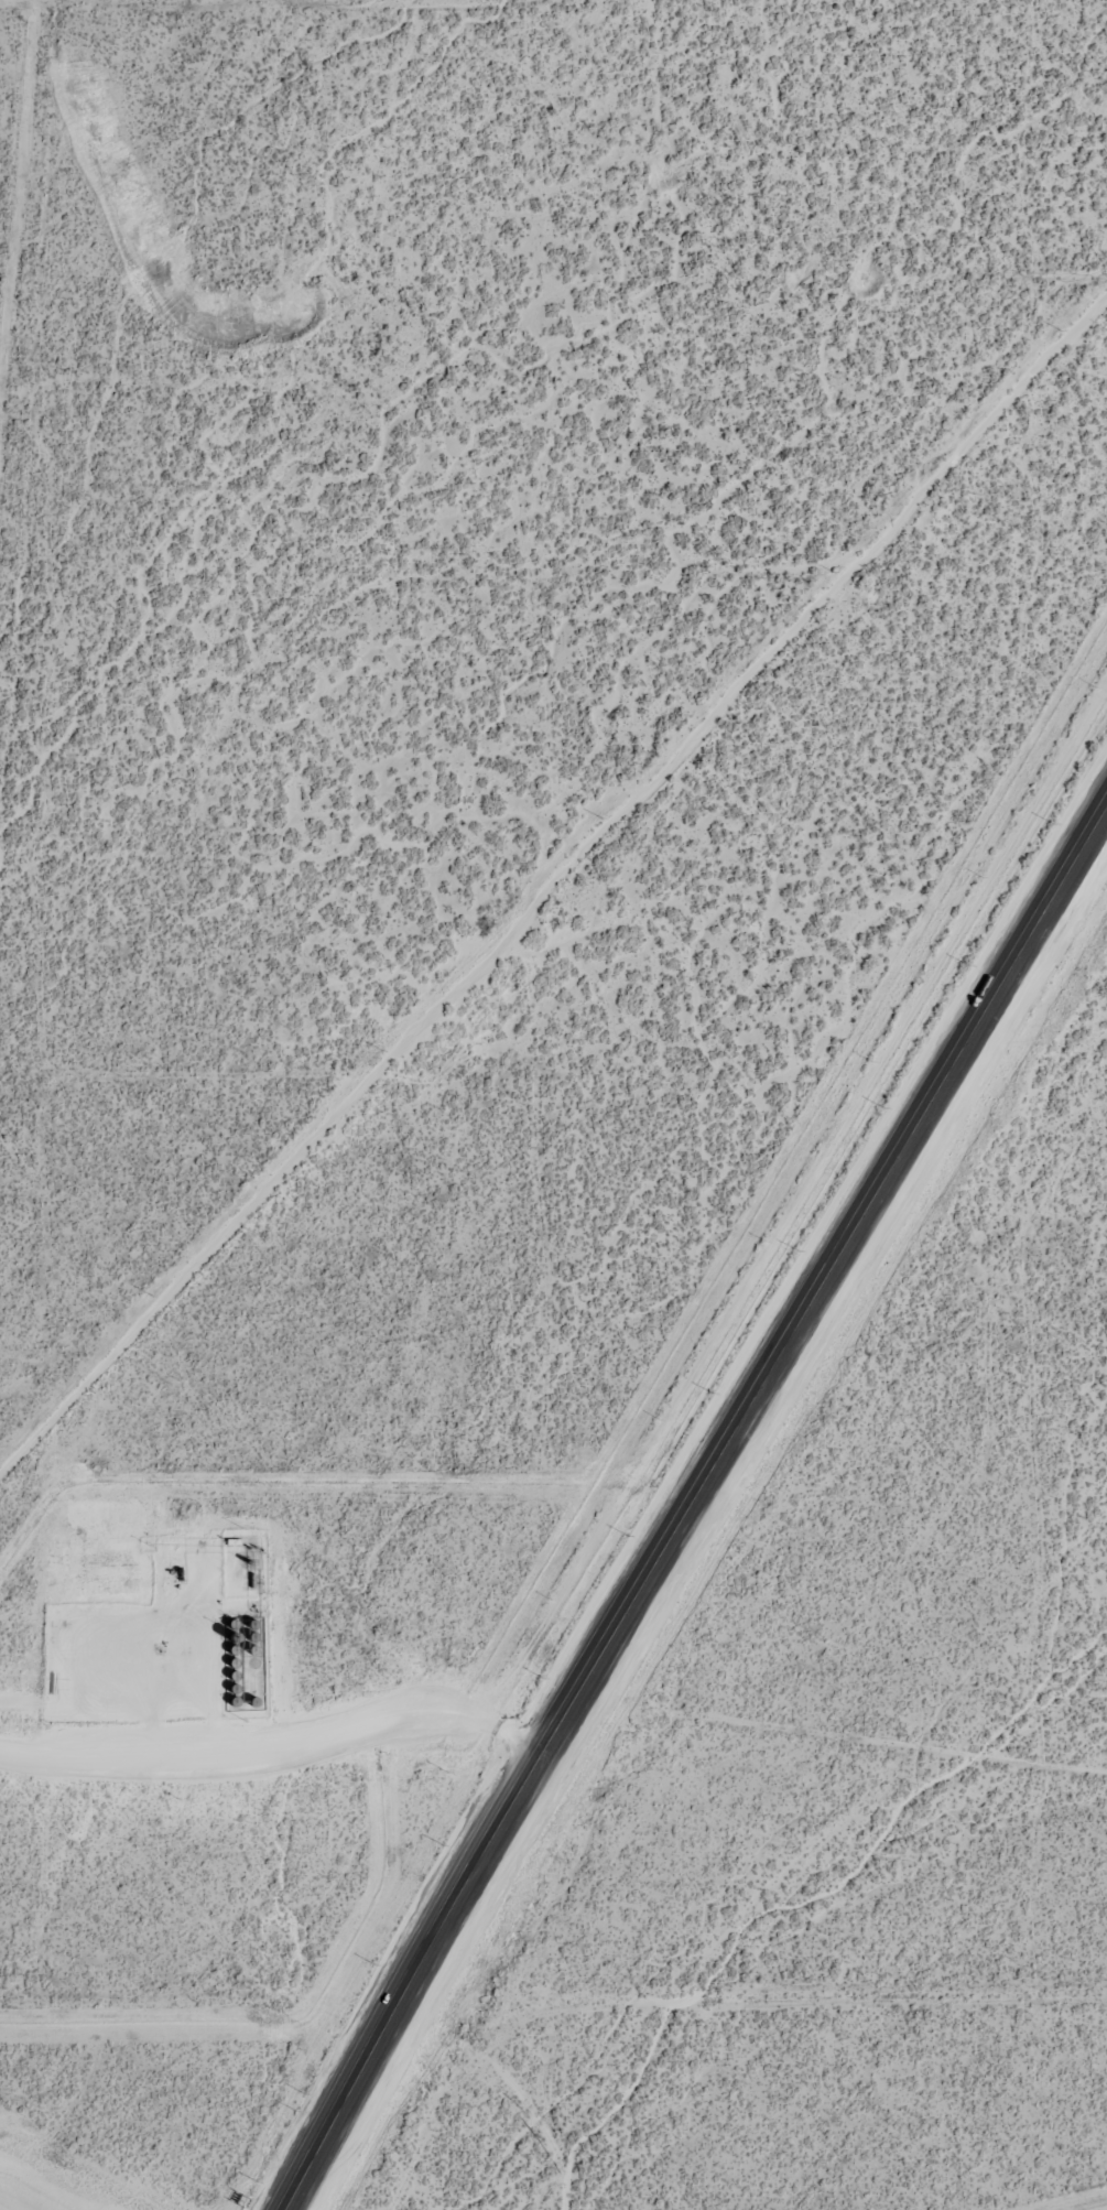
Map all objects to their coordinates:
road: (690, 1505)
road: (283, 1708)
road: (432, 2049)

